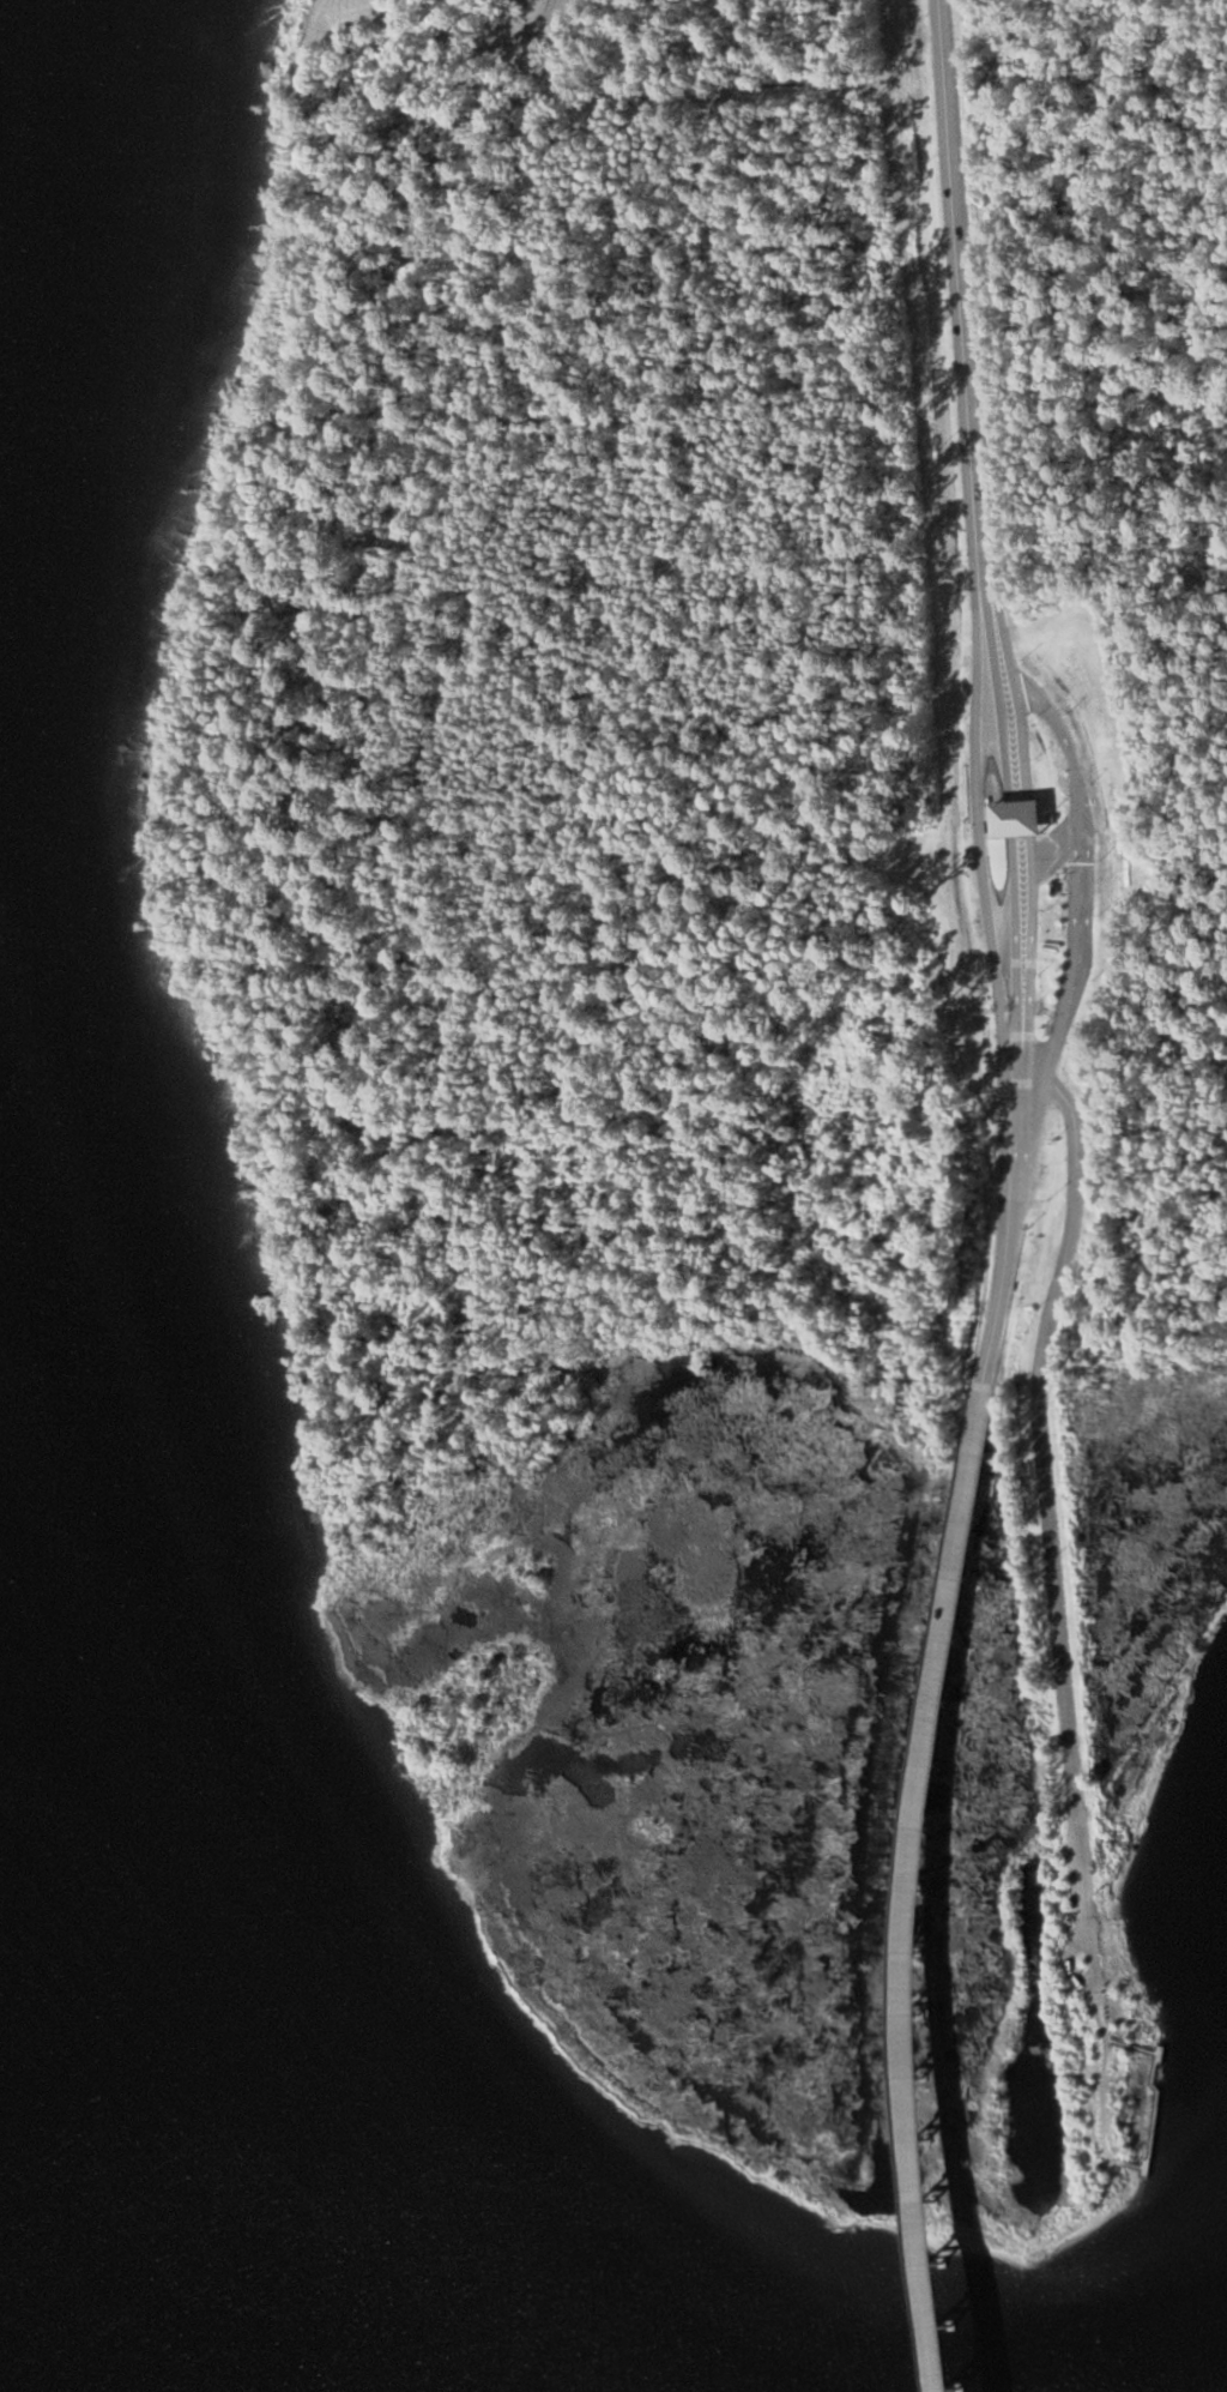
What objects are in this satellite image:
road: (959, 333)
road: (1080, 951)
road: (1008, 965)
road: (984, 1325)
road: (1048, 1522)
road: (887, 1886)
road: (1071, 1957)
road: (1101, 2077)
road: (1156, 2096)

